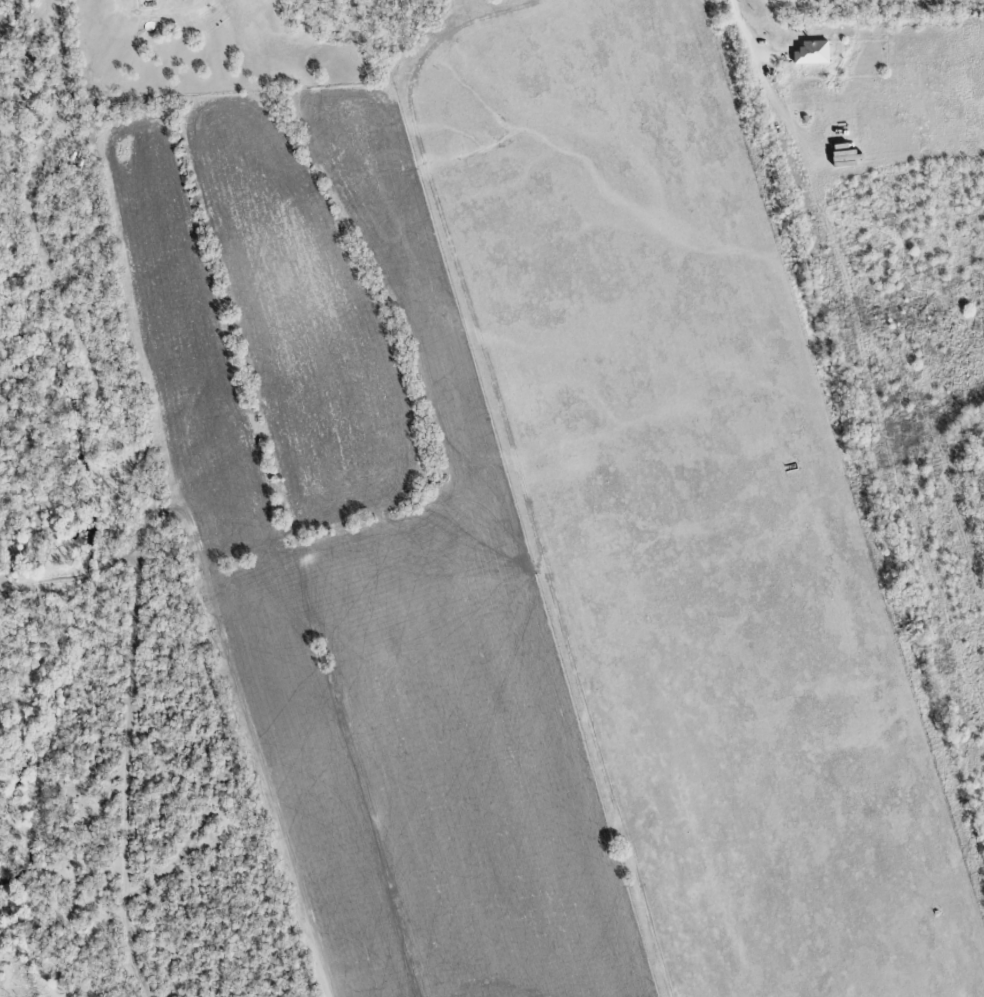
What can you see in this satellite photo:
road: (746, 34)
building: (812, 53)

